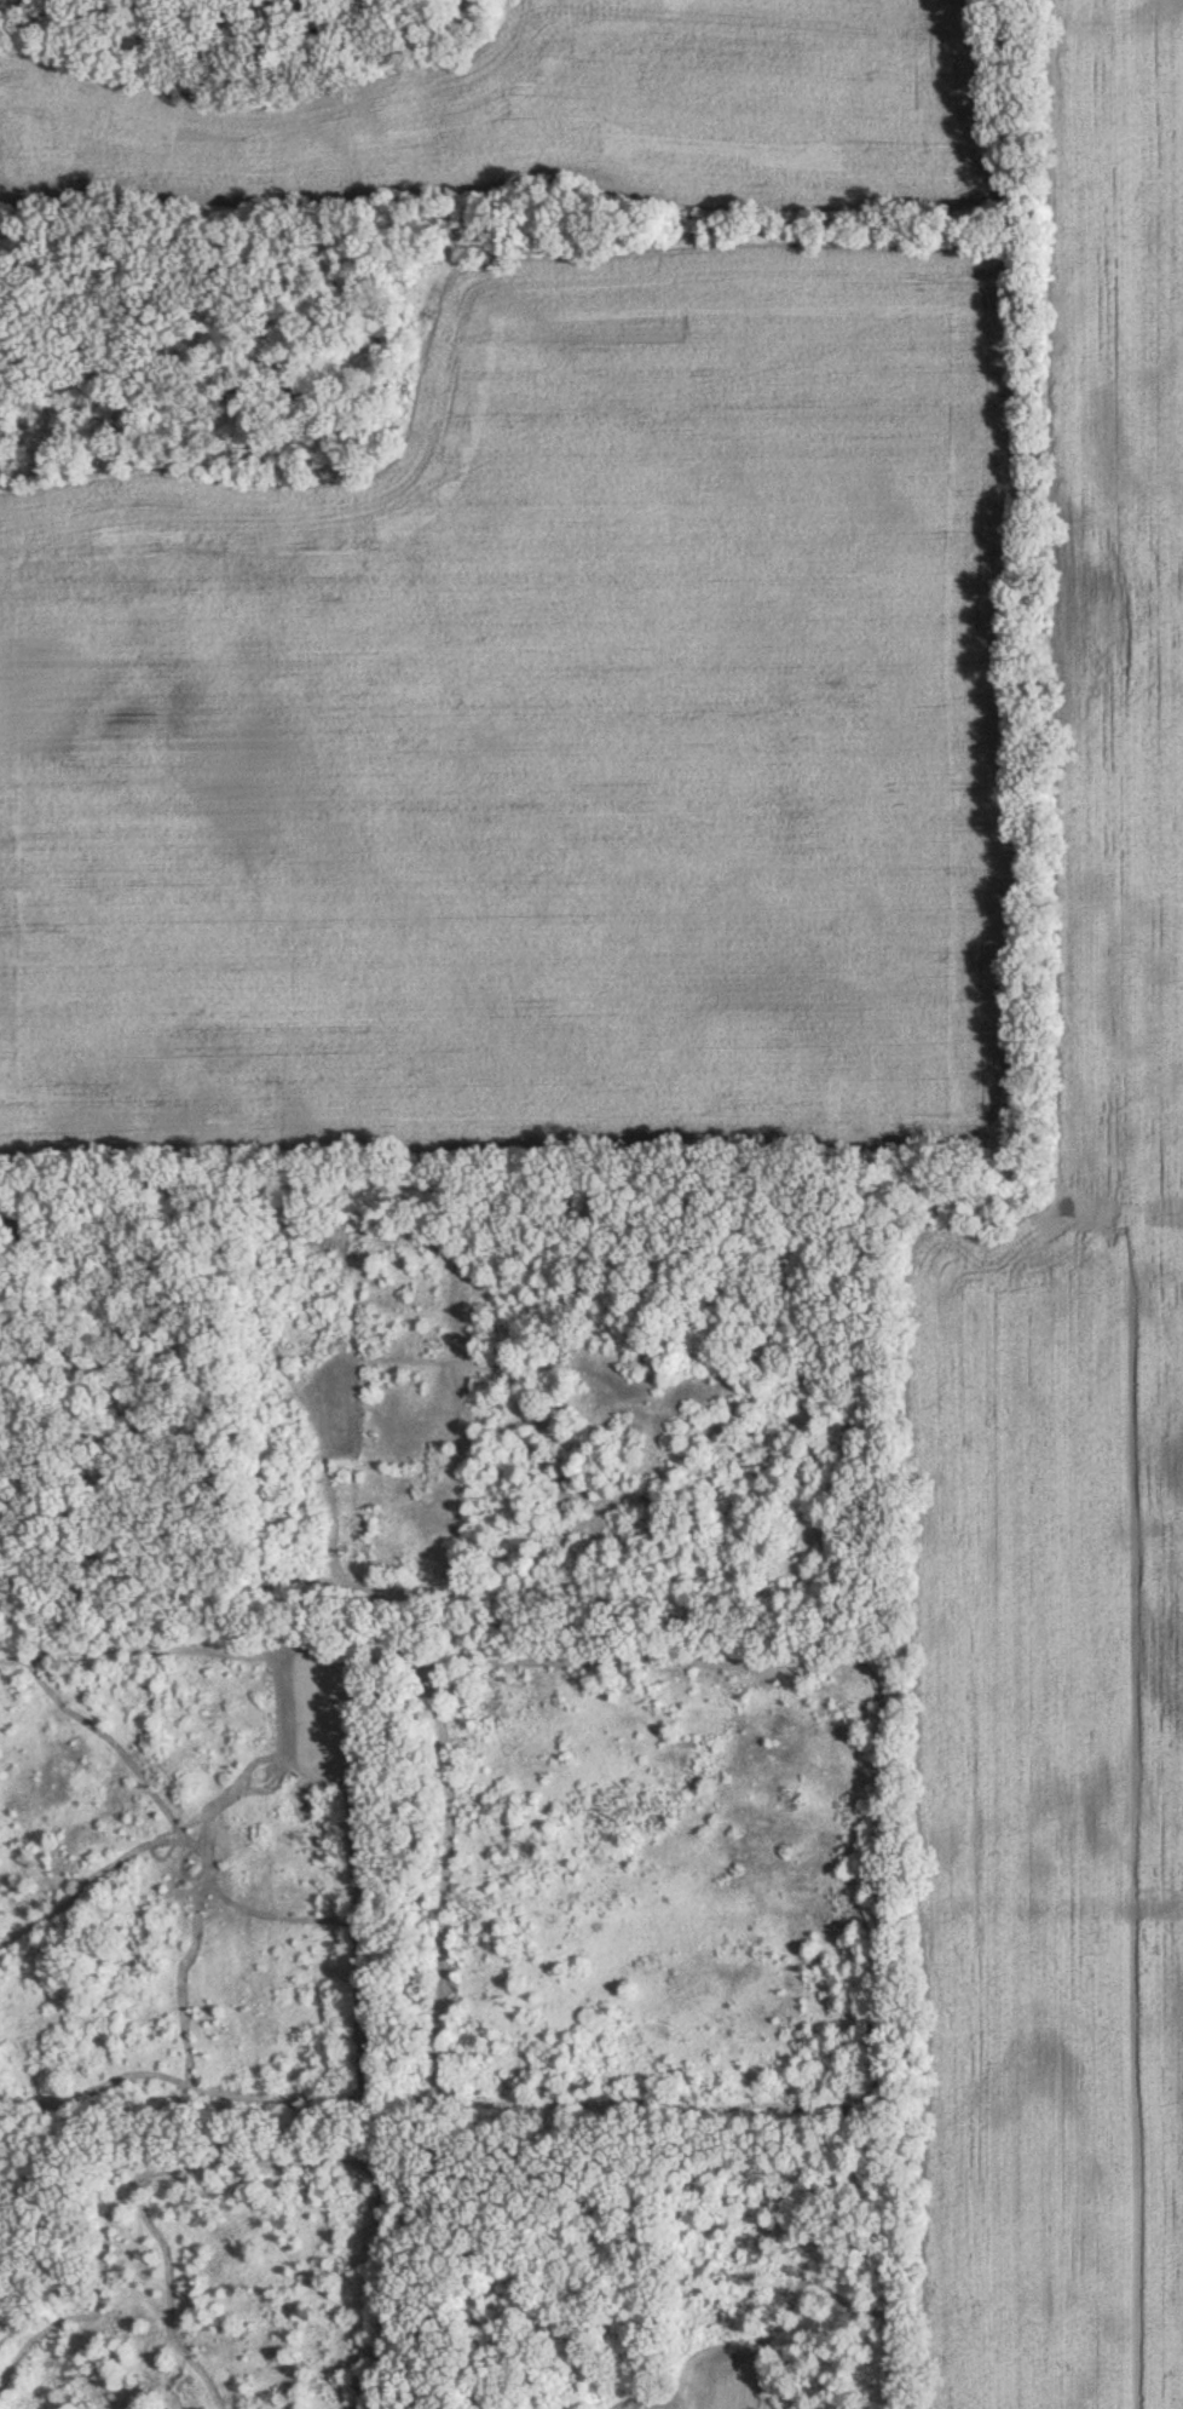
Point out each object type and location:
road: (591, 1189)

